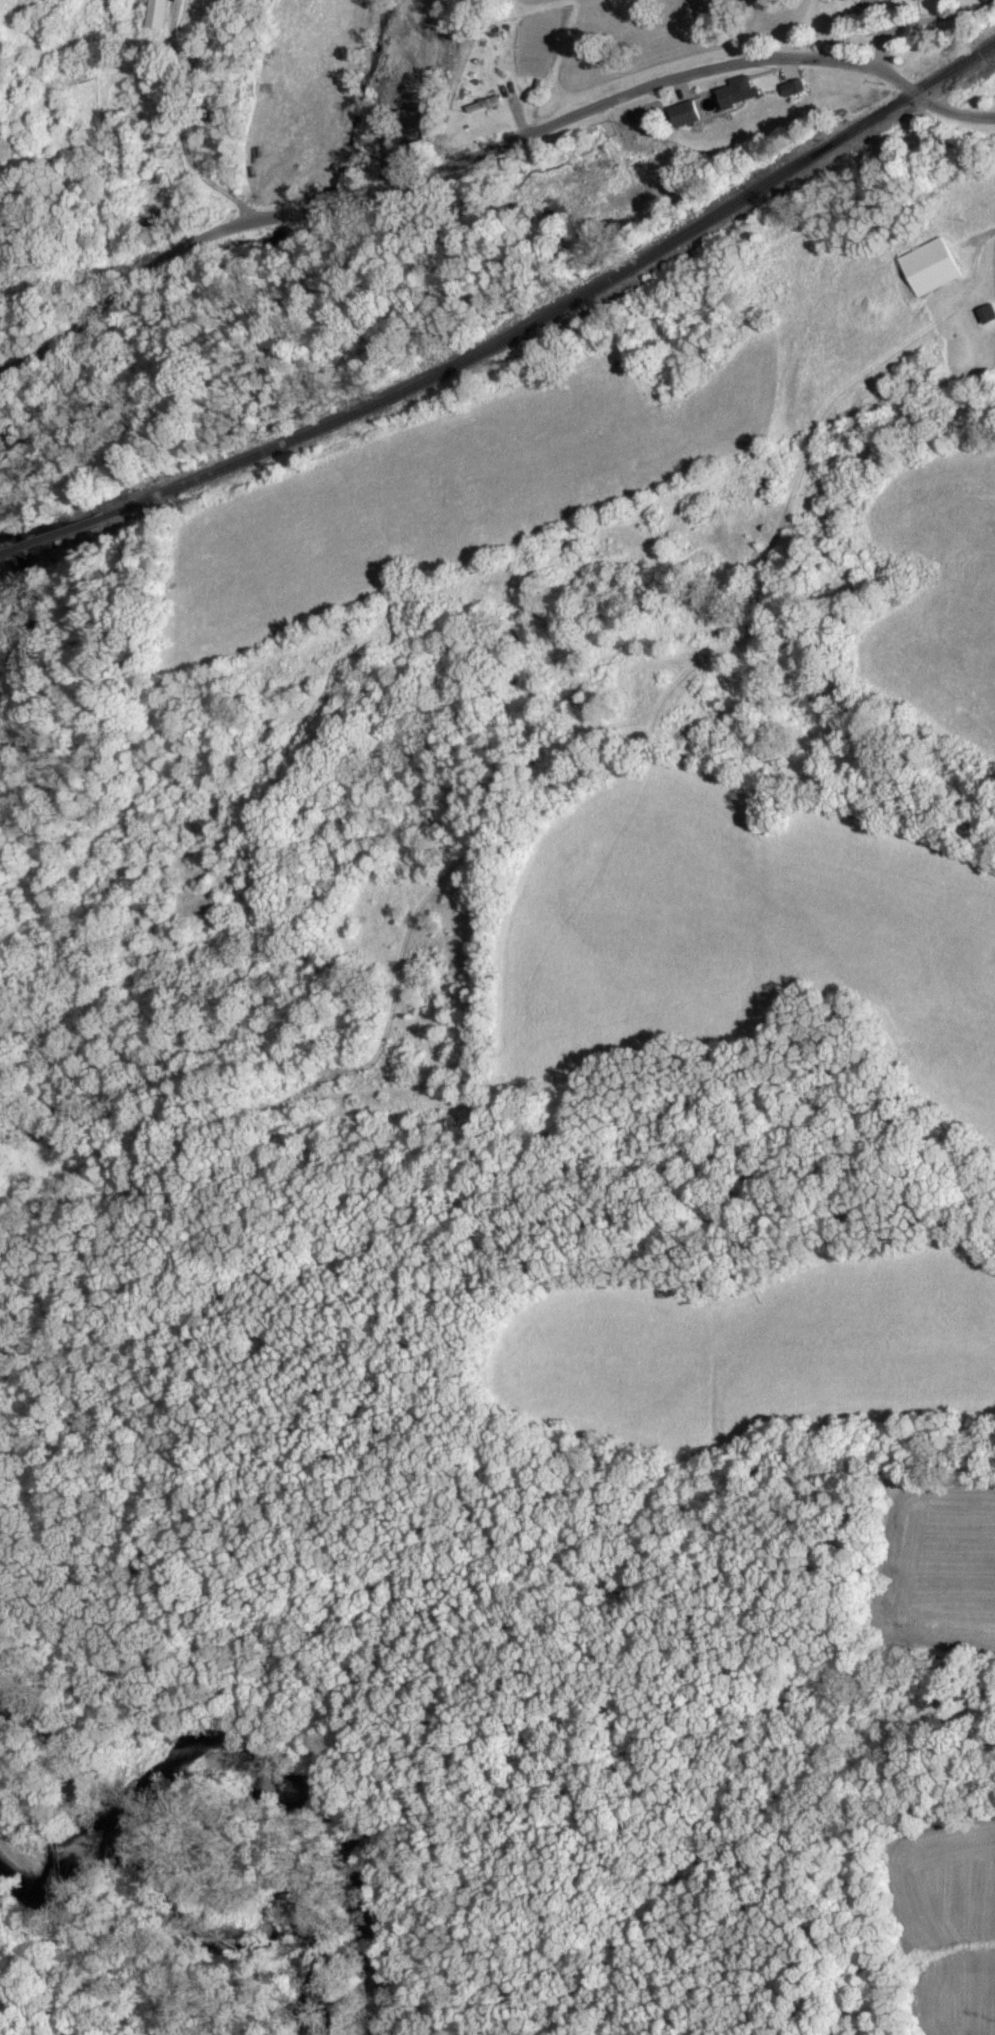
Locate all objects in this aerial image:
building: (155, 14)
building: (790, 88)
building: (733, 92)
building: (680, 114)
building: (407, 126)
road: (484, 150)
building: (927, 268)
railway: (563, 307)
railway: (51, 538)

